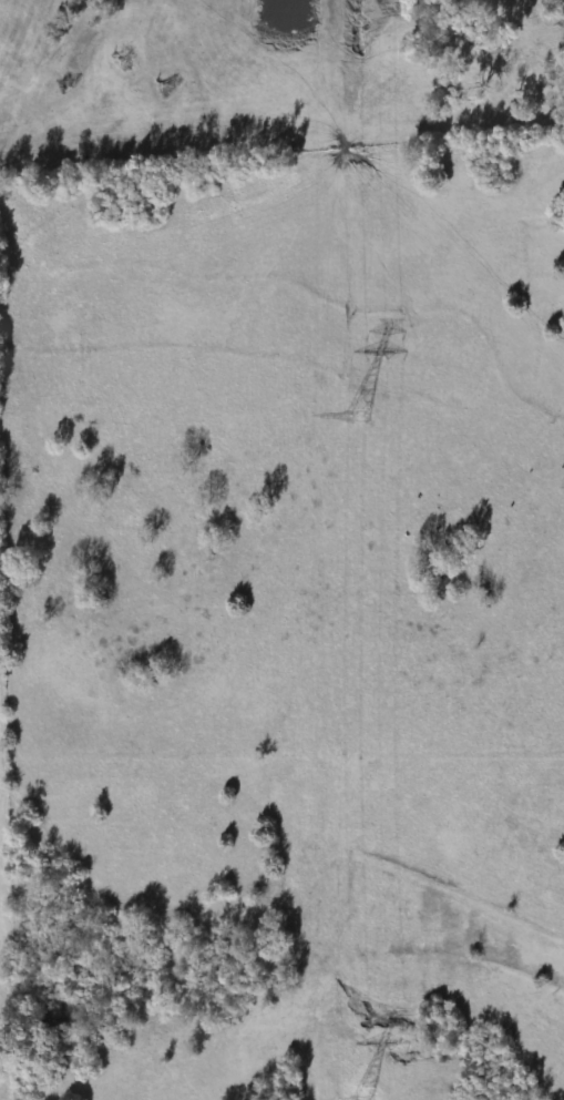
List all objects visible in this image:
power tower: (355, 417)

